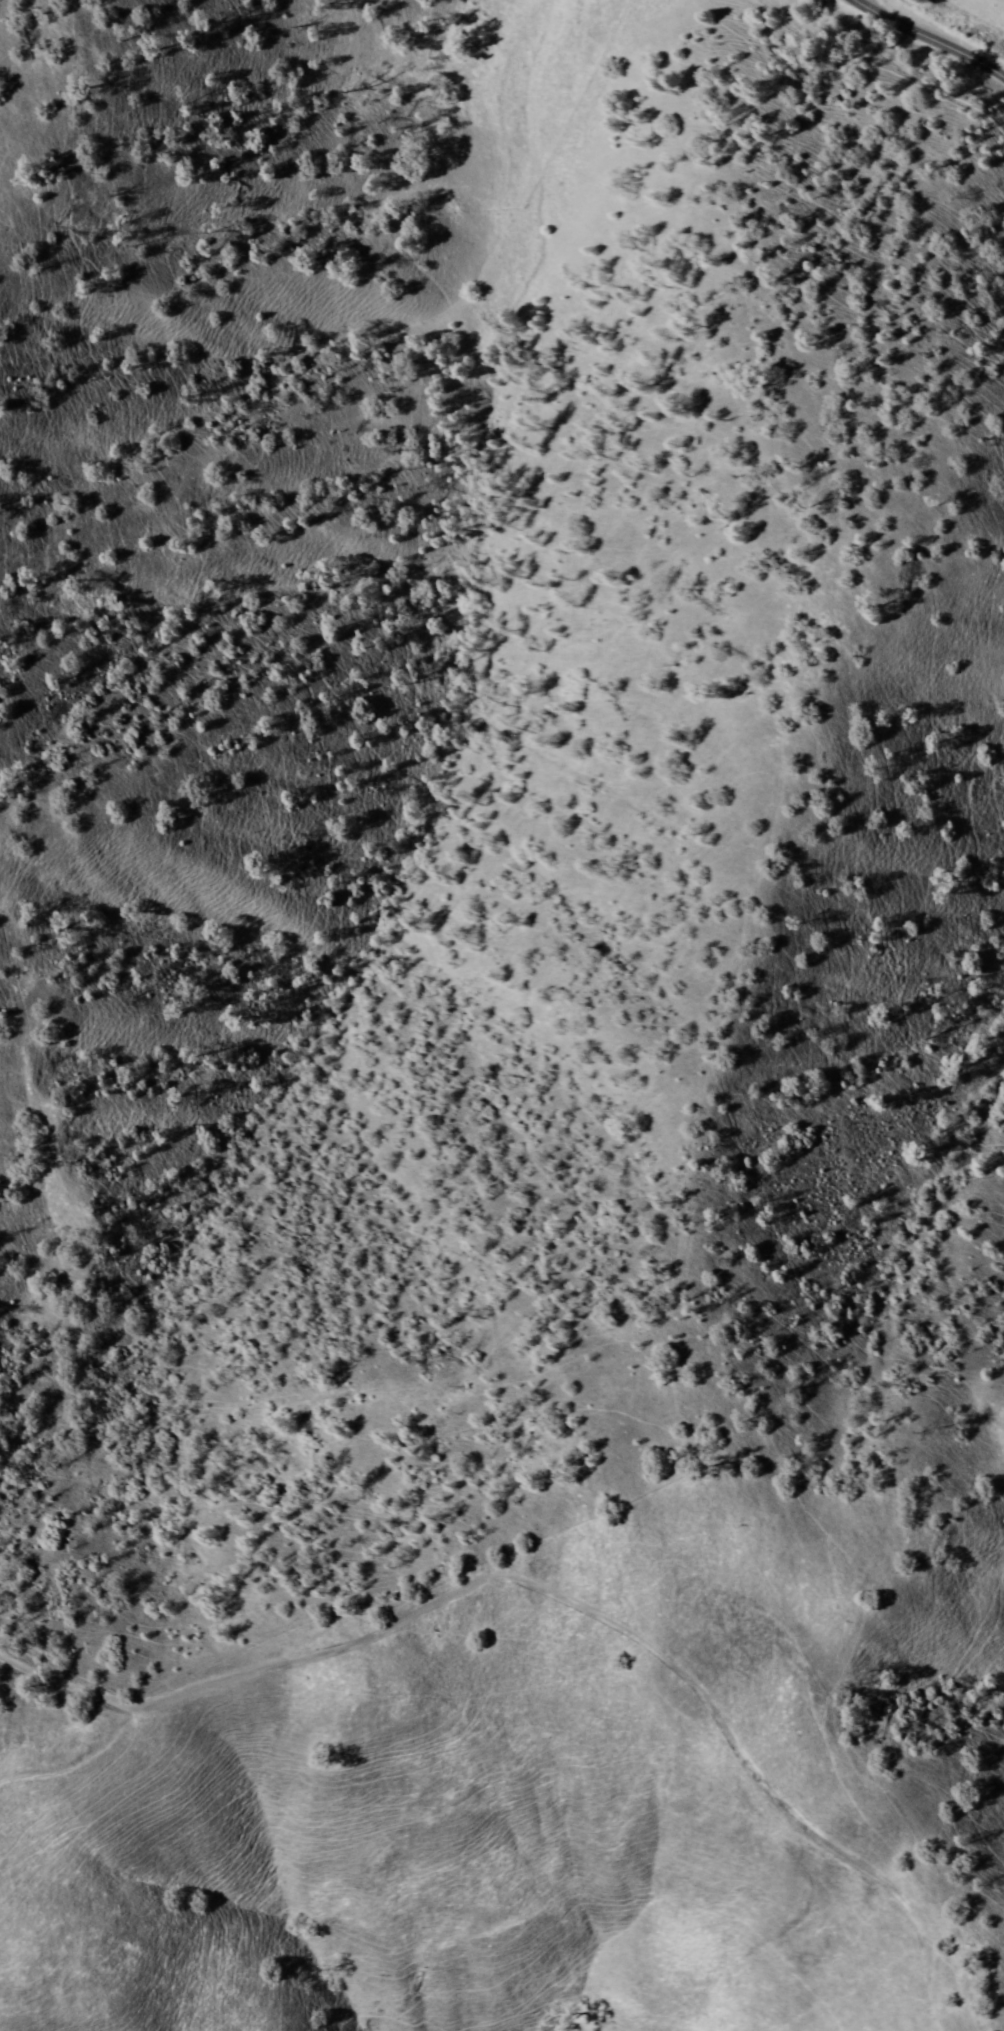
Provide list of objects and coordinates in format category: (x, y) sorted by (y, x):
road: (935, 33)

